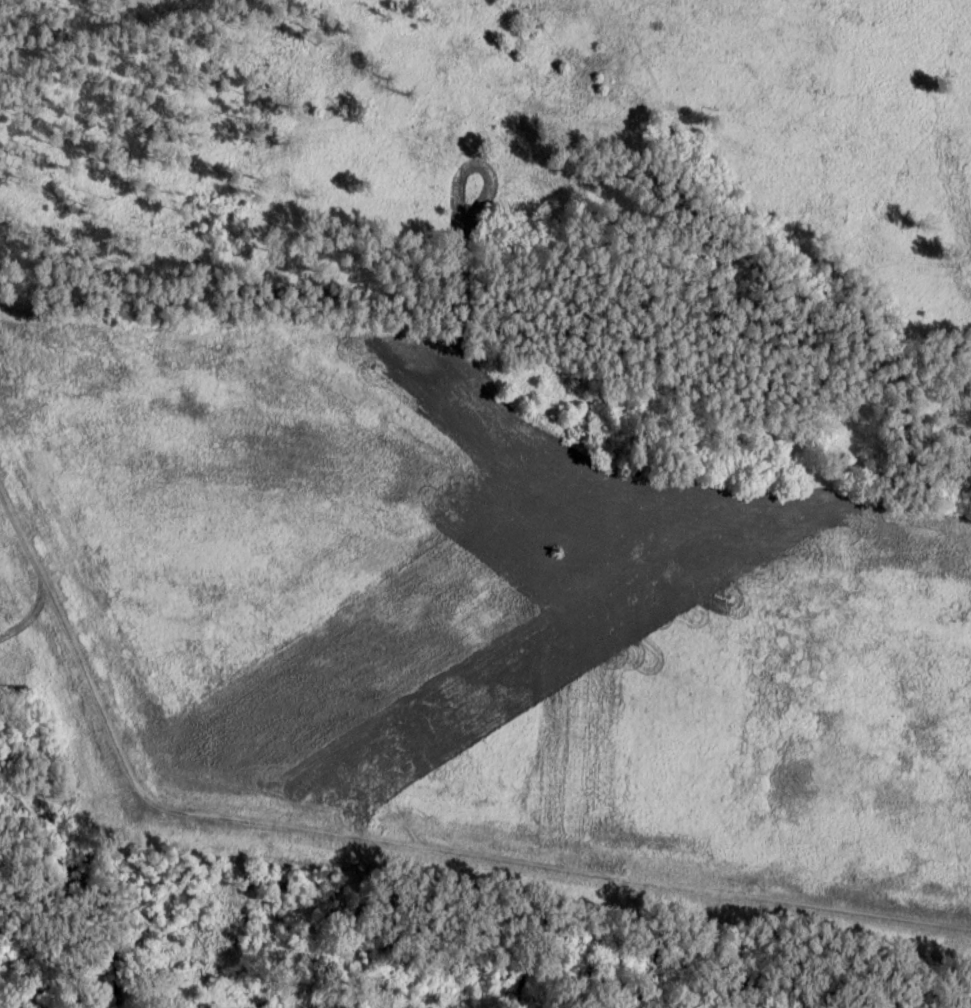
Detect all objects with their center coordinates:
road: (393, 842)

